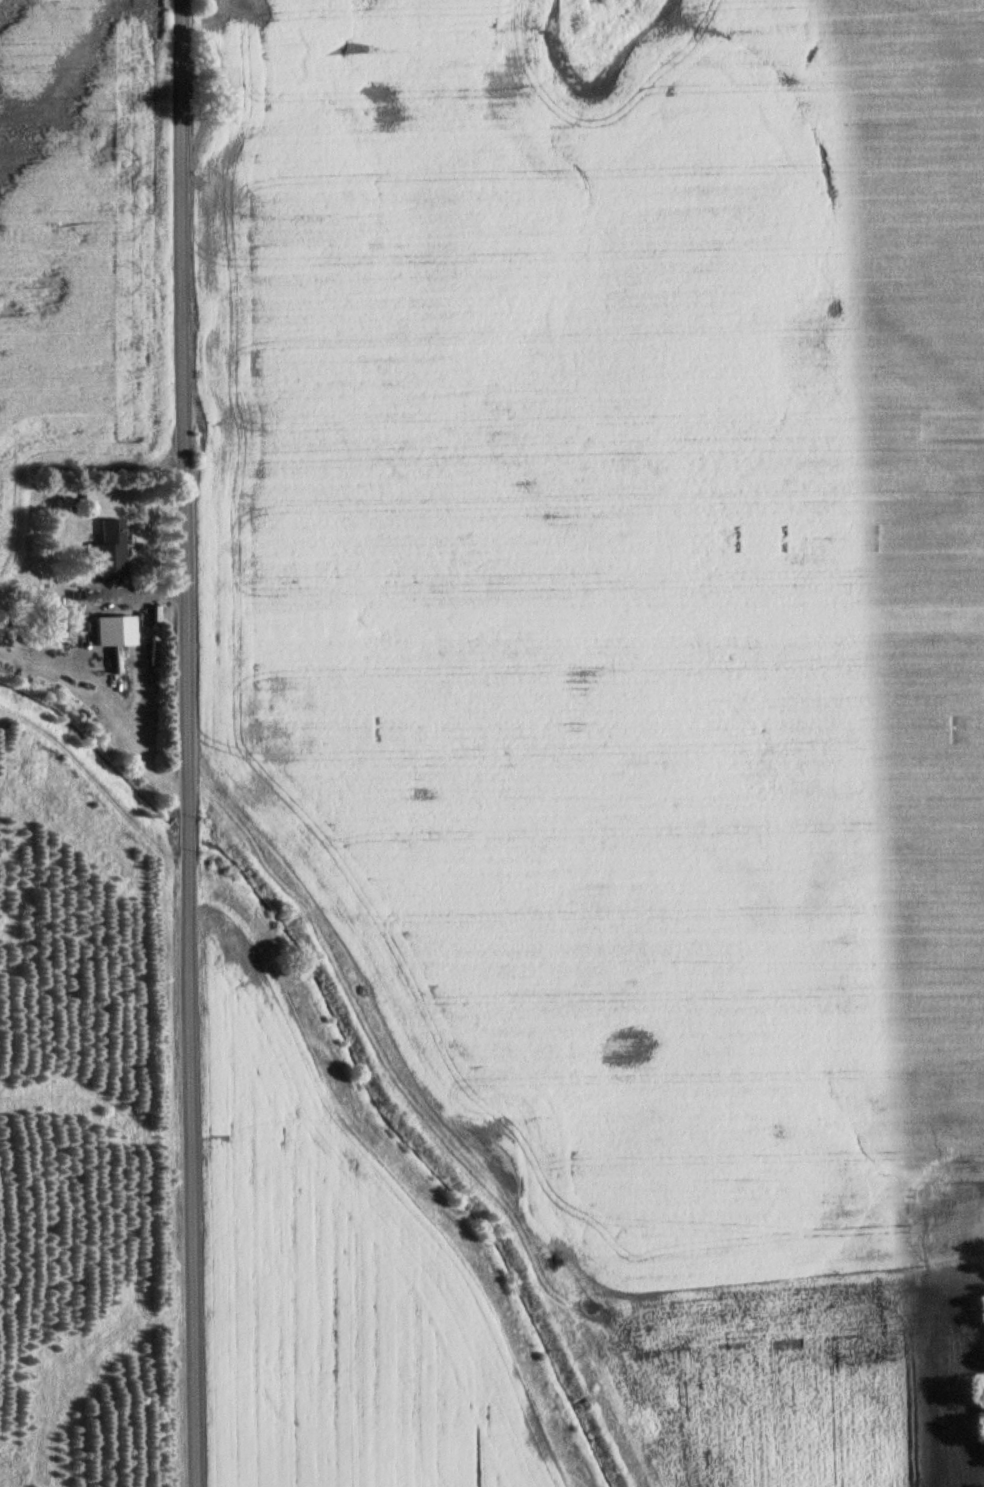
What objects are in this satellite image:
building: (105, 549)
building: (108, 630)
road: (185, 743)

